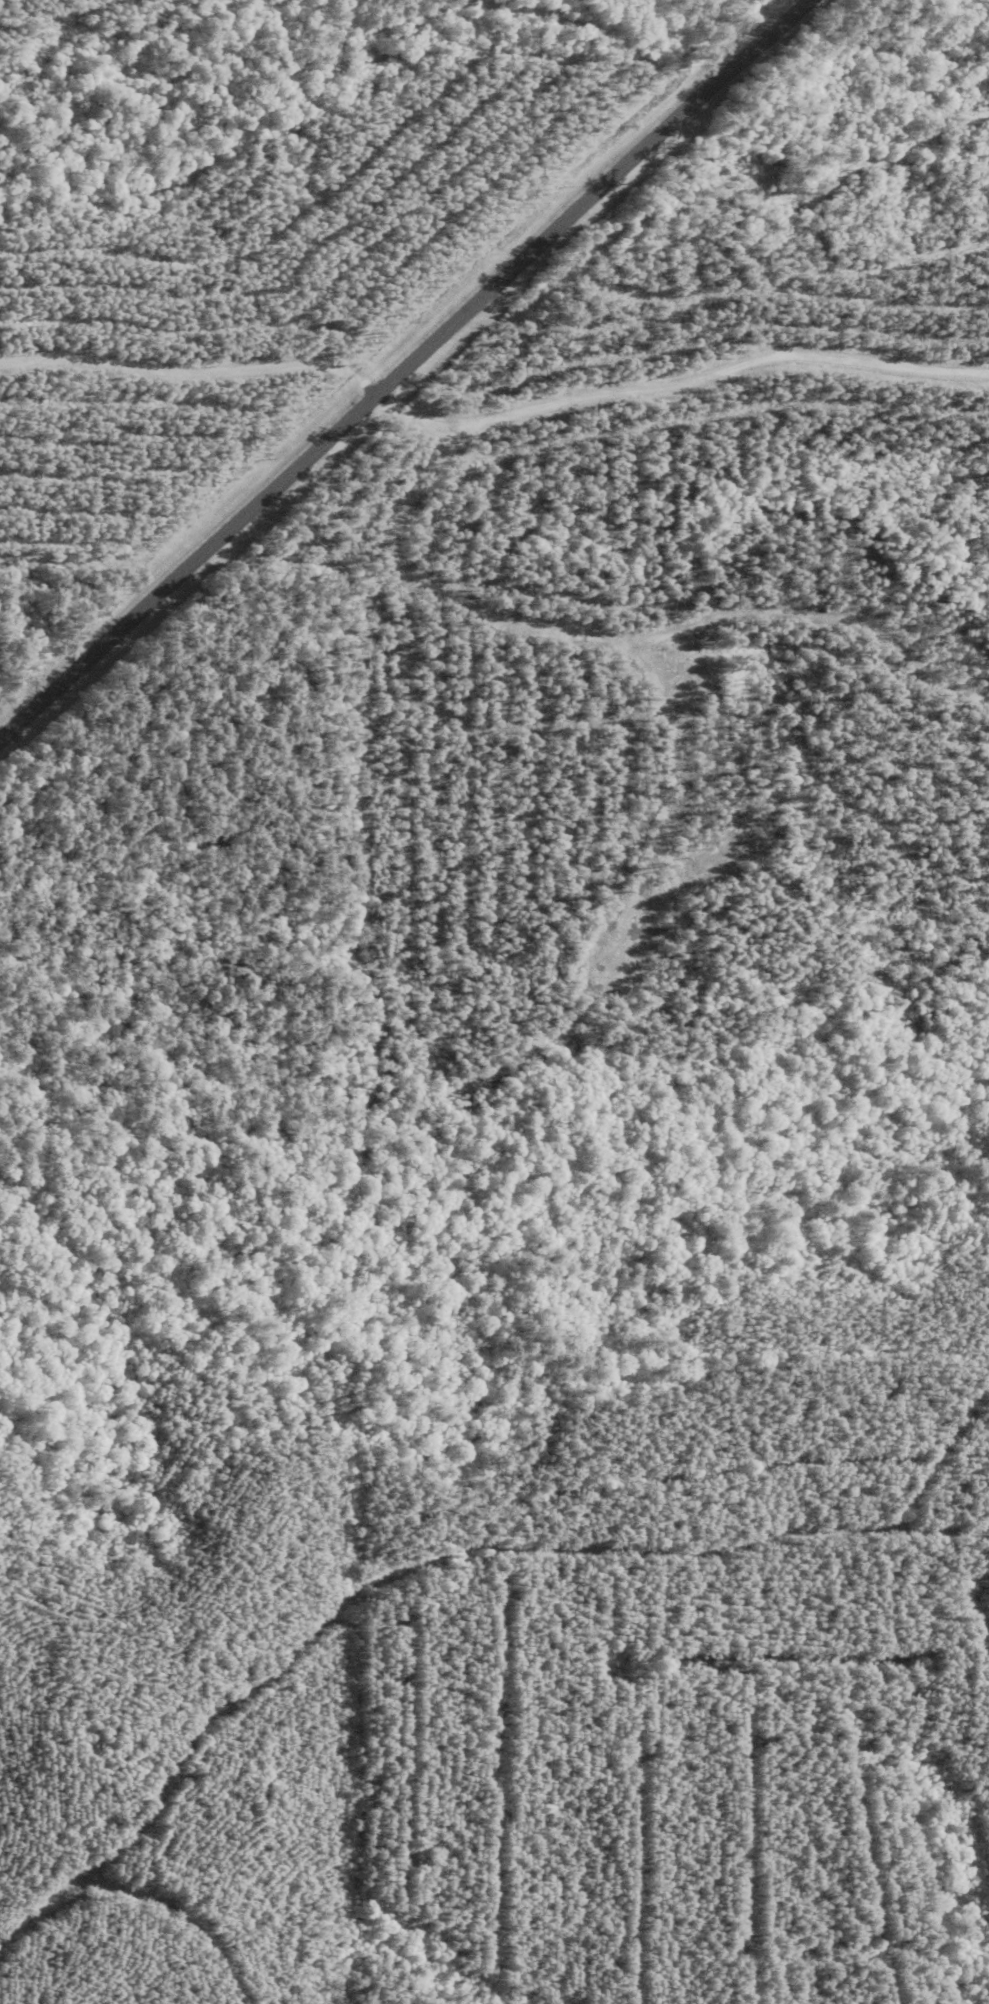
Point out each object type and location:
road: (404, 370)

